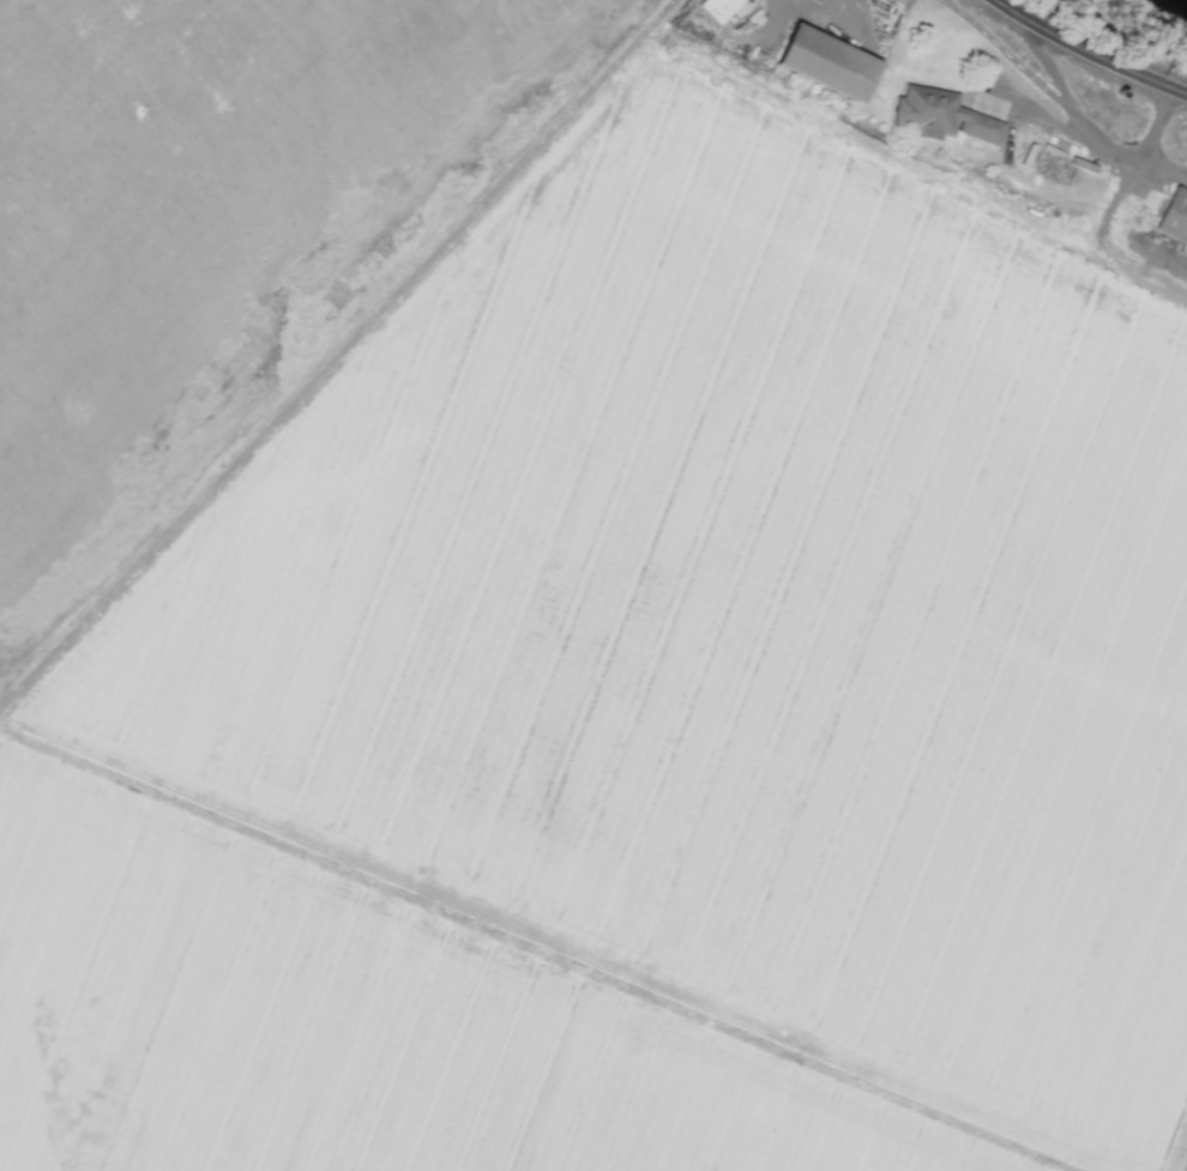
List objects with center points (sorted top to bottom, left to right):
building: (718, 7)
road: (820, 17)
road: (1089, 49)
building: (826, 61)
road: (1044, 113)
building: (941, 114)
road: (1086, 128)
road: (1153, 165)
road: (1186, 176)
road: (1186, 176)
crop: (207, 207)
building: (1174, 217)

